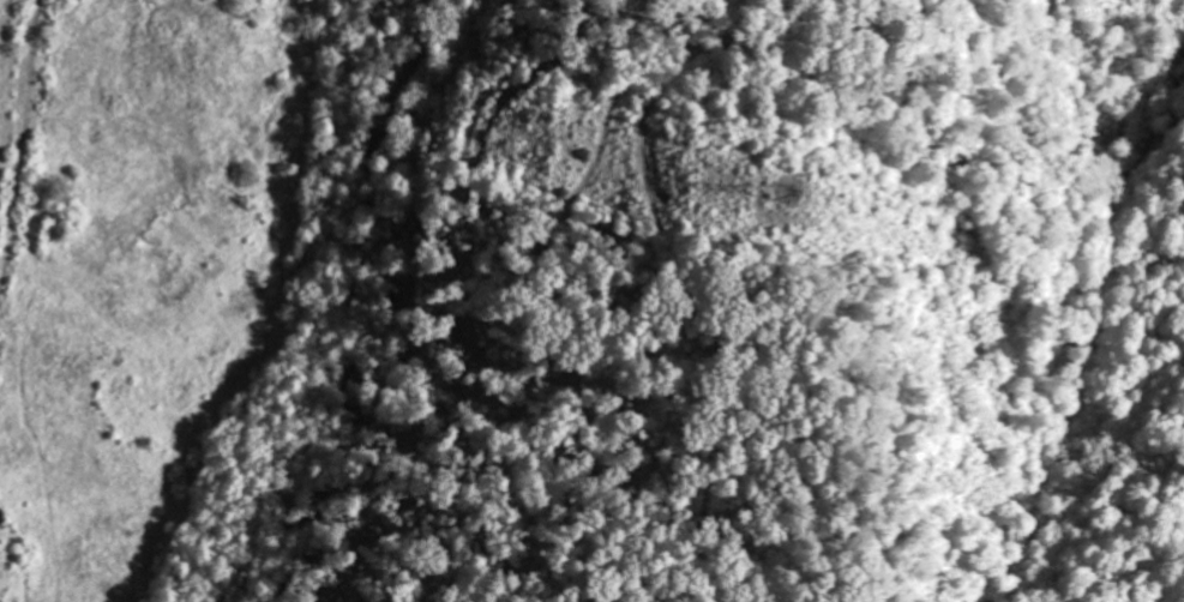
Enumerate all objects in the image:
power tower: (779, 189)

